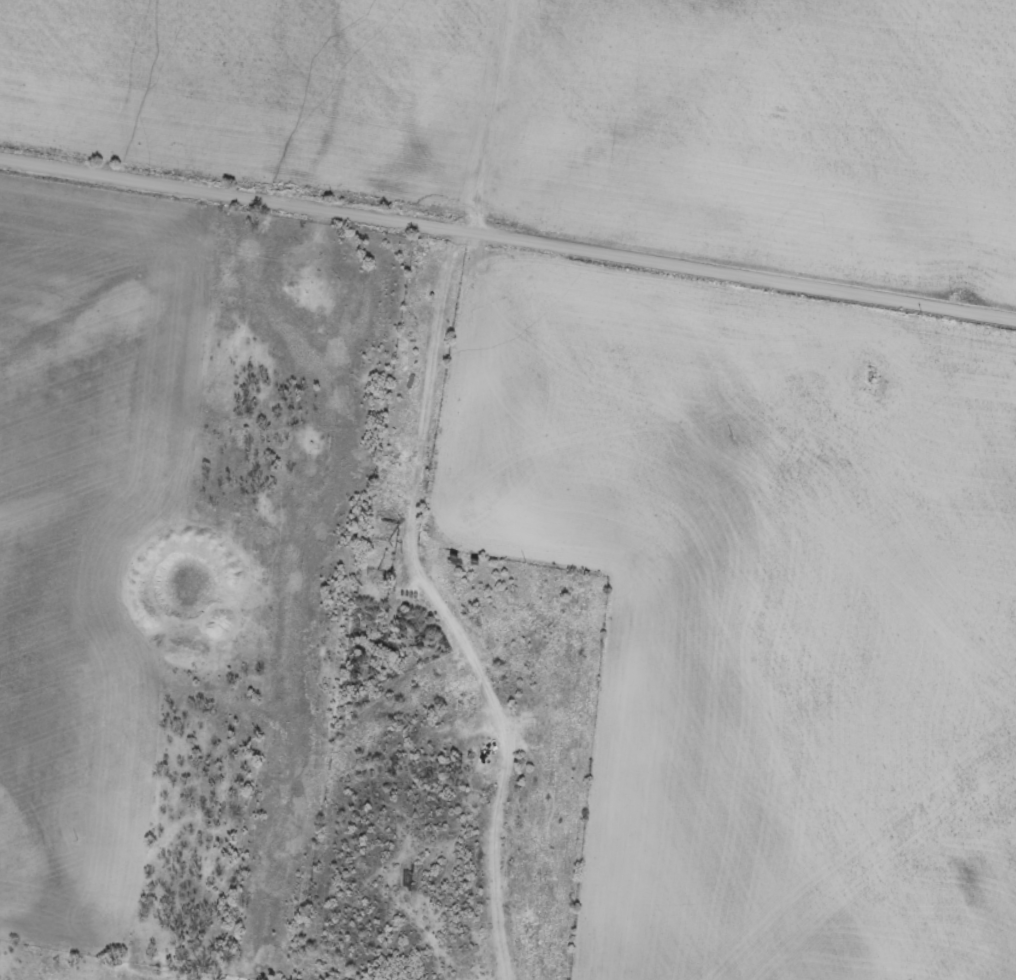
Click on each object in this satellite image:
crop: (772, 136)
road: (508, 238)
road: (417, 502)

